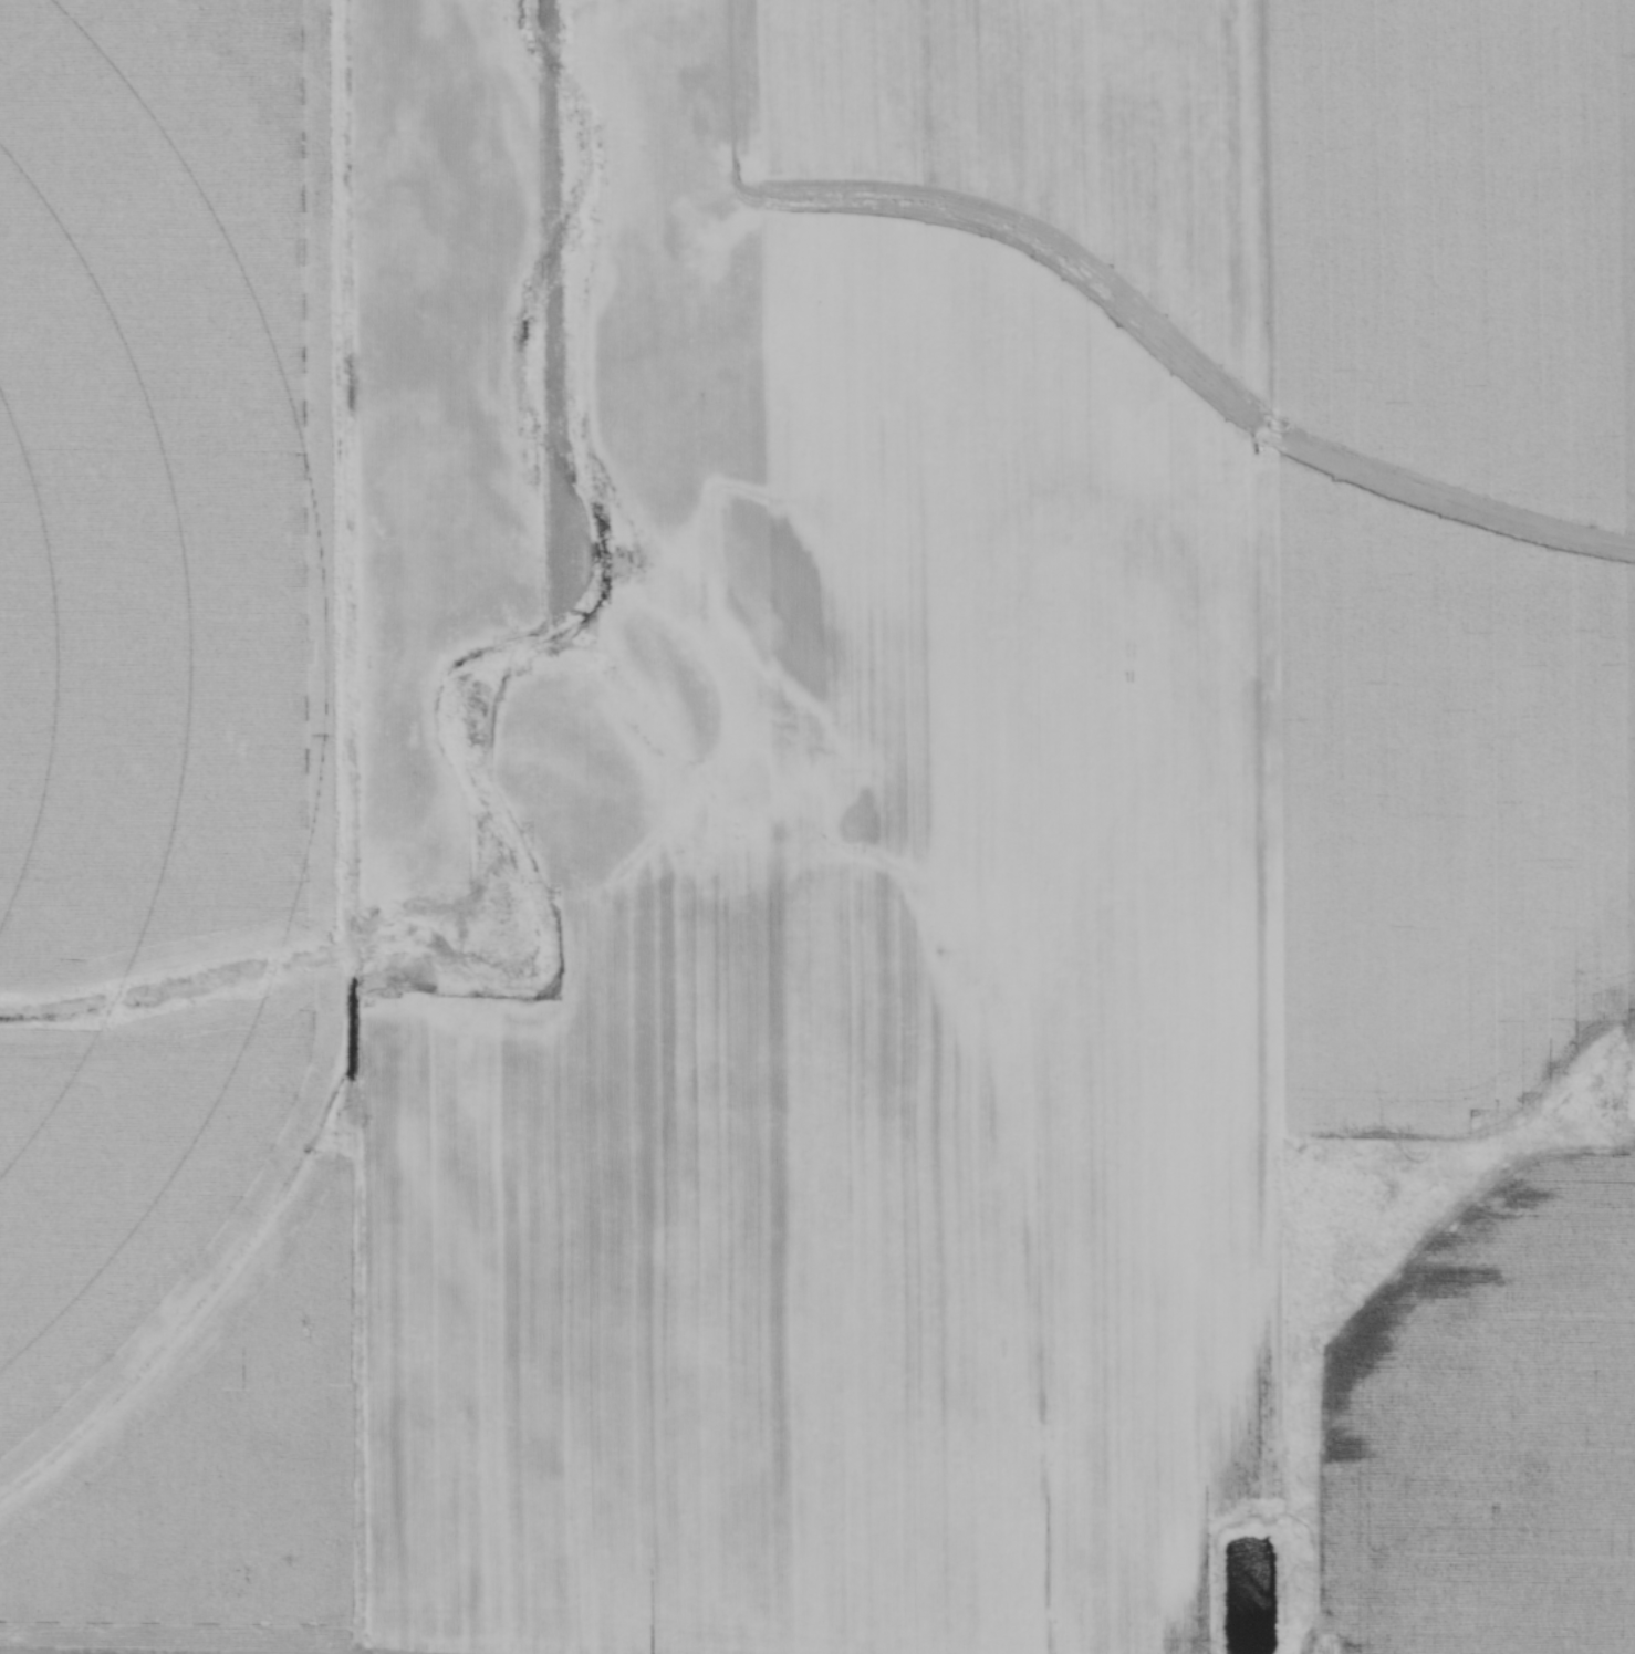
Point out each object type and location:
crop: (1489, 1425)

